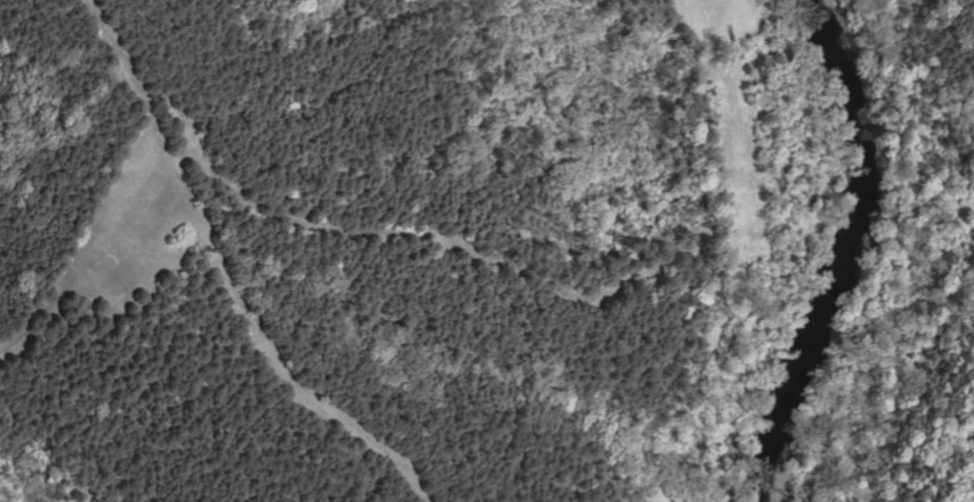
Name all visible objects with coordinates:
road: (226, 274)

